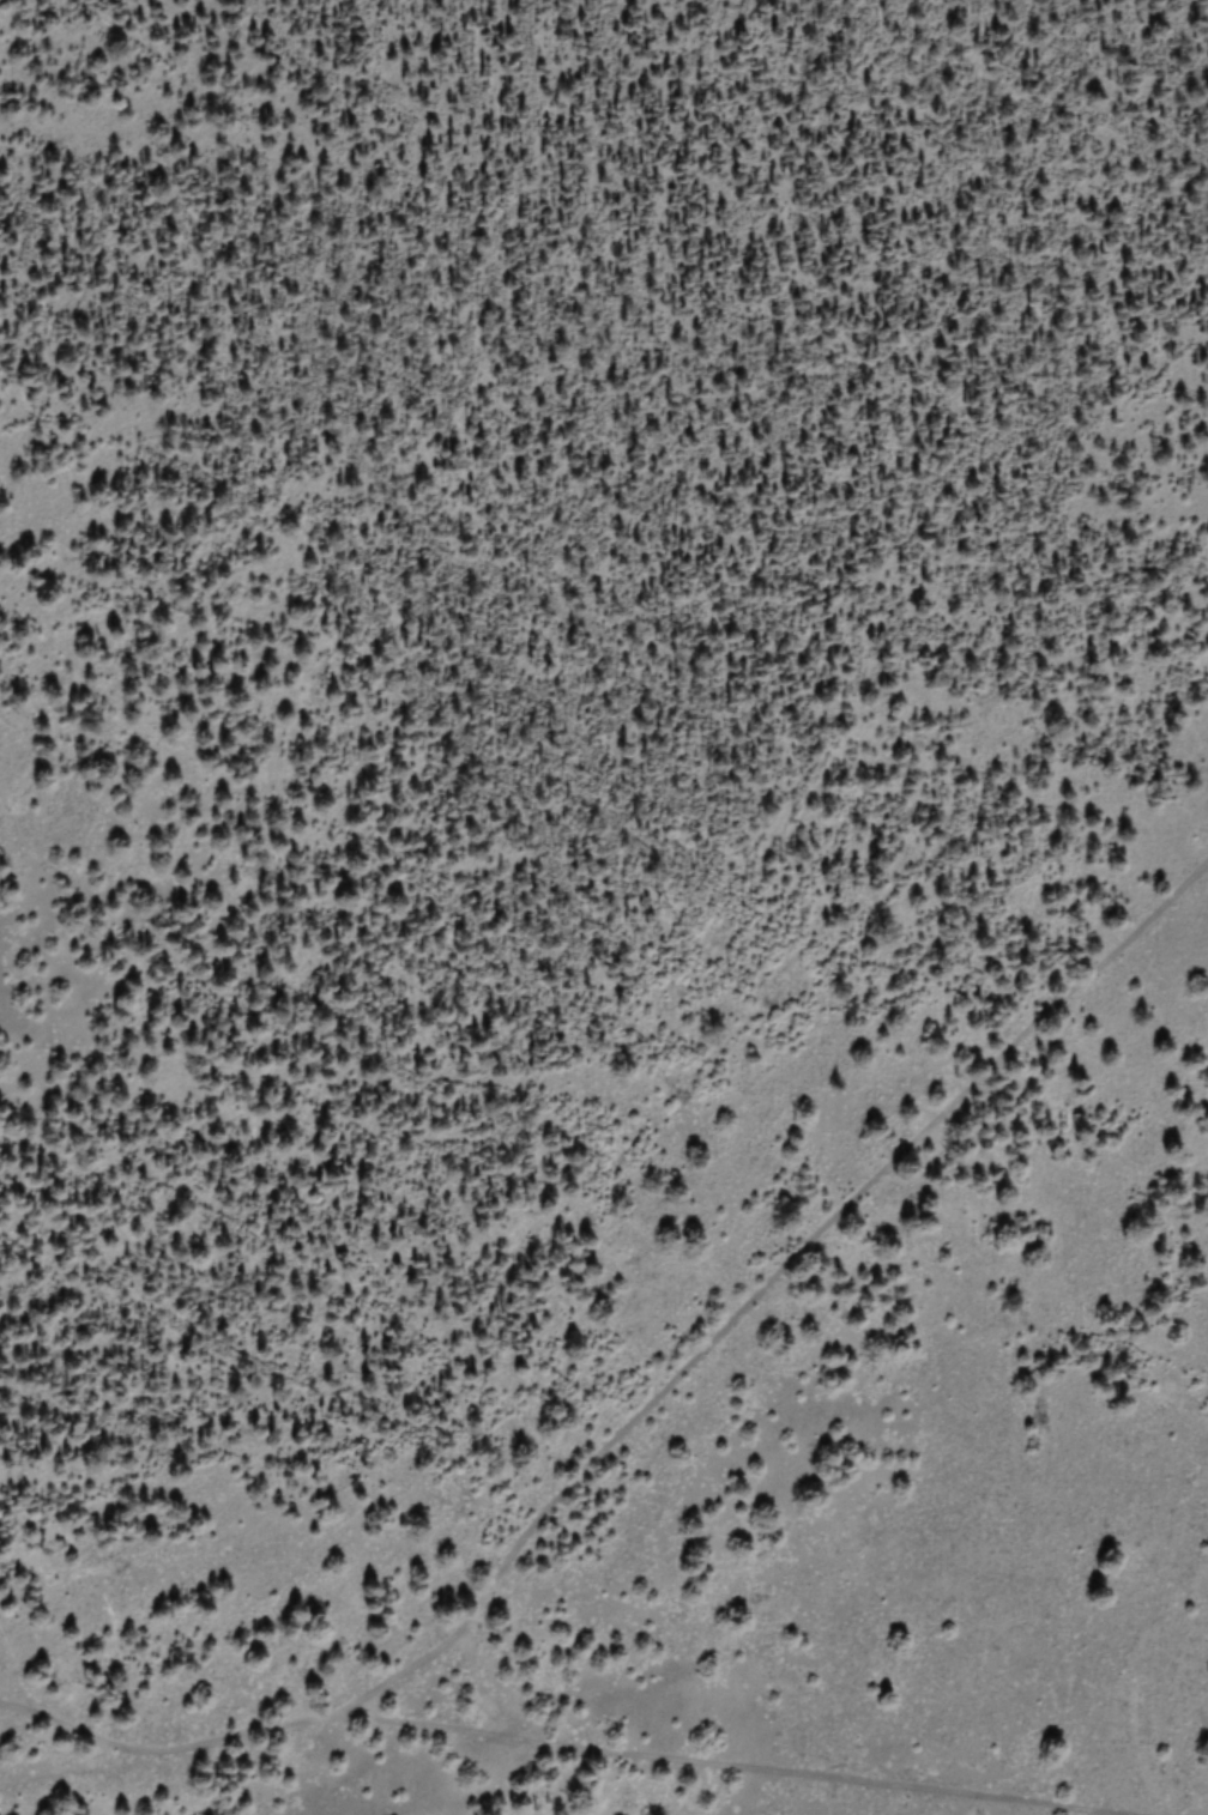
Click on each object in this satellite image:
road: (543, 1742)

